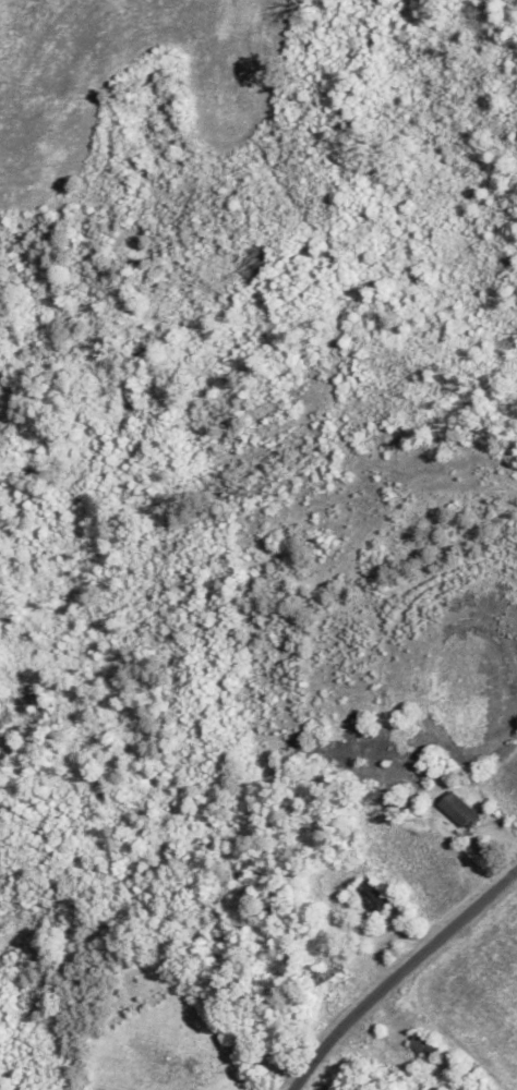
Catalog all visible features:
building: (460, 811)
building: (372, 896)
road: (399, 973)
building: (329, 976)
building: (424, 1044)

